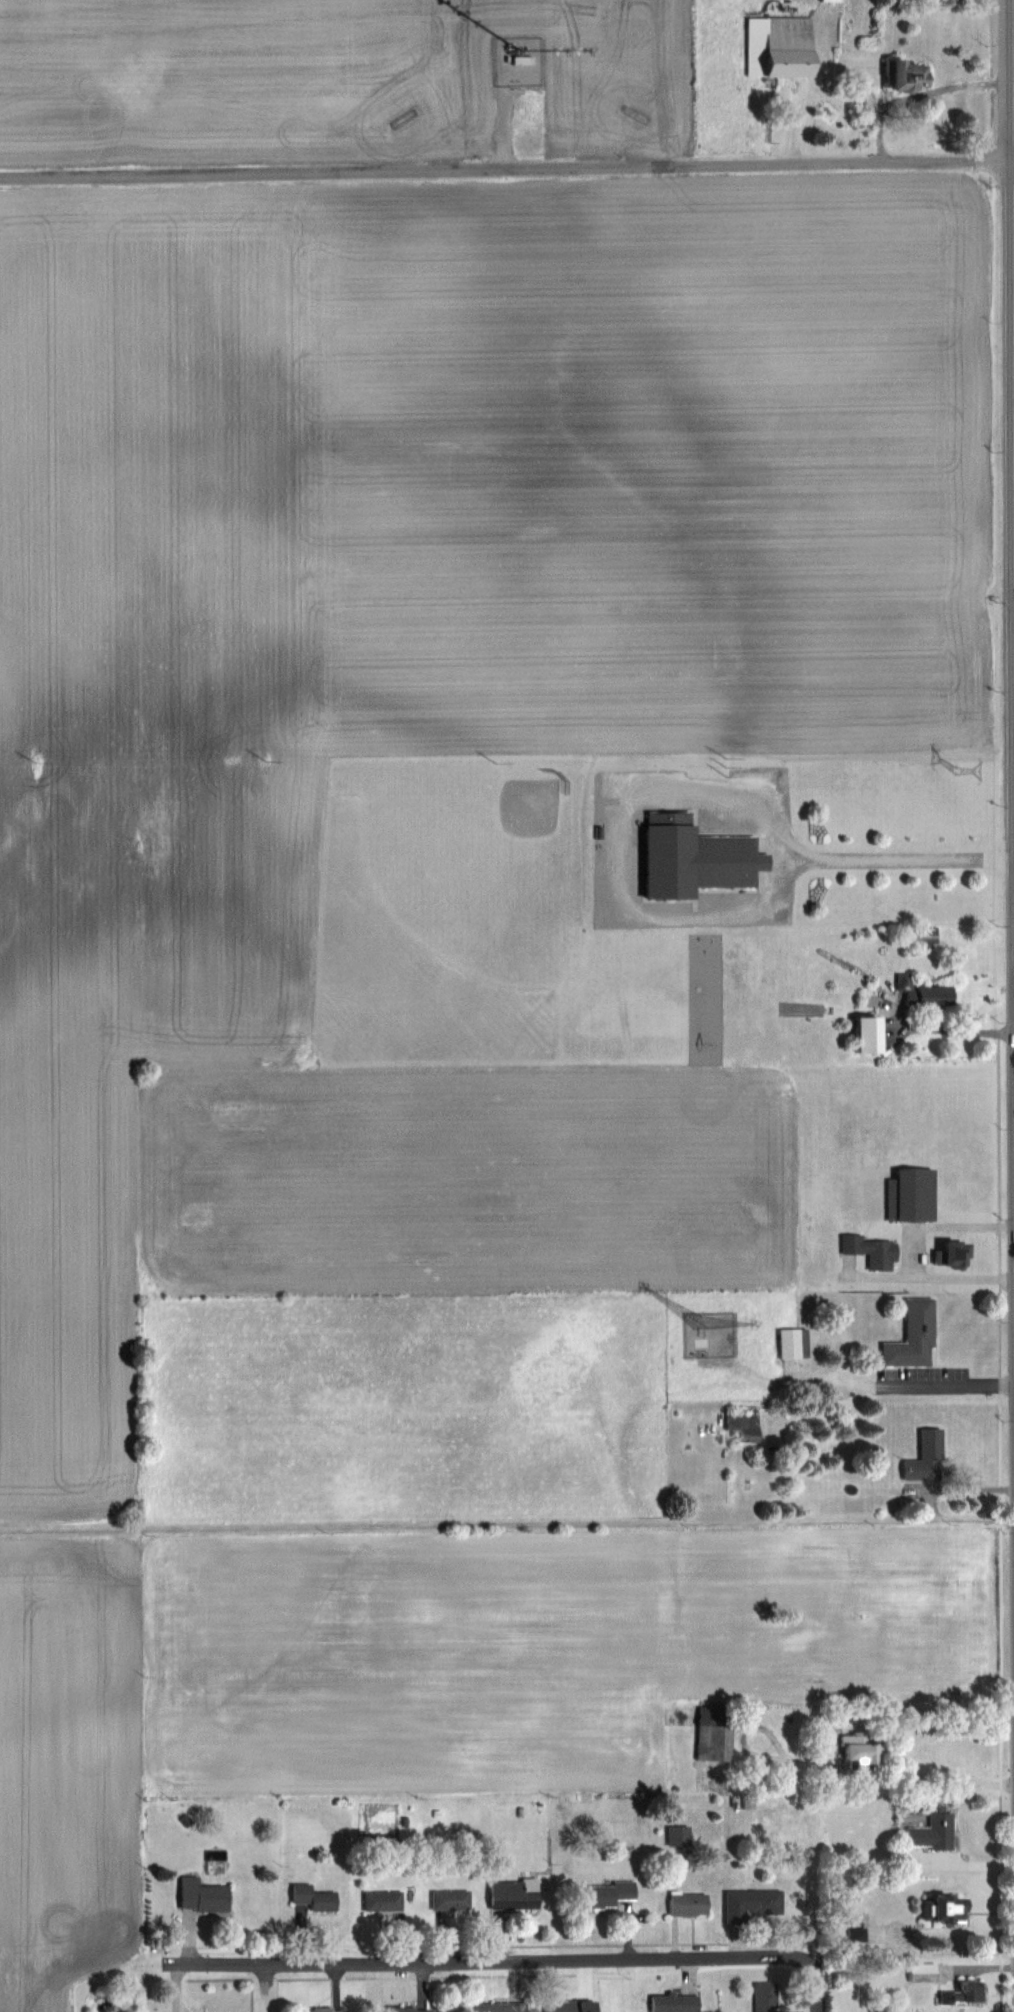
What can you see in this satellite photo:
building: (836, 1)
building: (783, 46)
building: (918, 75)
road: (922, 99)
road: (507, 169)
building: (666, 856)
road: (902, 856)
road: (951, 1029)
road: (938, 1223)
building: (868, 1251)
building: (943, 1253)
road: (936, 1276)
building: (909, 1337)
road: (962, 1385)
building: (922, 1456)
road: (506, 1524)
building: (714, 1743)
building: (861, 1749)
road: (918, 1773)
building: (935, 1831)
building: (681, 1835)
building: (611, 1893)
building: (517, 1894)
building: (205, 1895)
building: (318, 1896)
building: (452, 1899)
building: (386, 1900)
building: (692, 1903)
building: (753, 1904)
building: (957, 1909)
road: (491, 1964)
building: (925, 1972)
road: (818, 1987)
building: (967, 1993)
building: (768, 1996)
building: (673, 2003)
building: (566, 2005)
building: (504, 2007)
building: (413, 2009)
building: (327, 2010)

